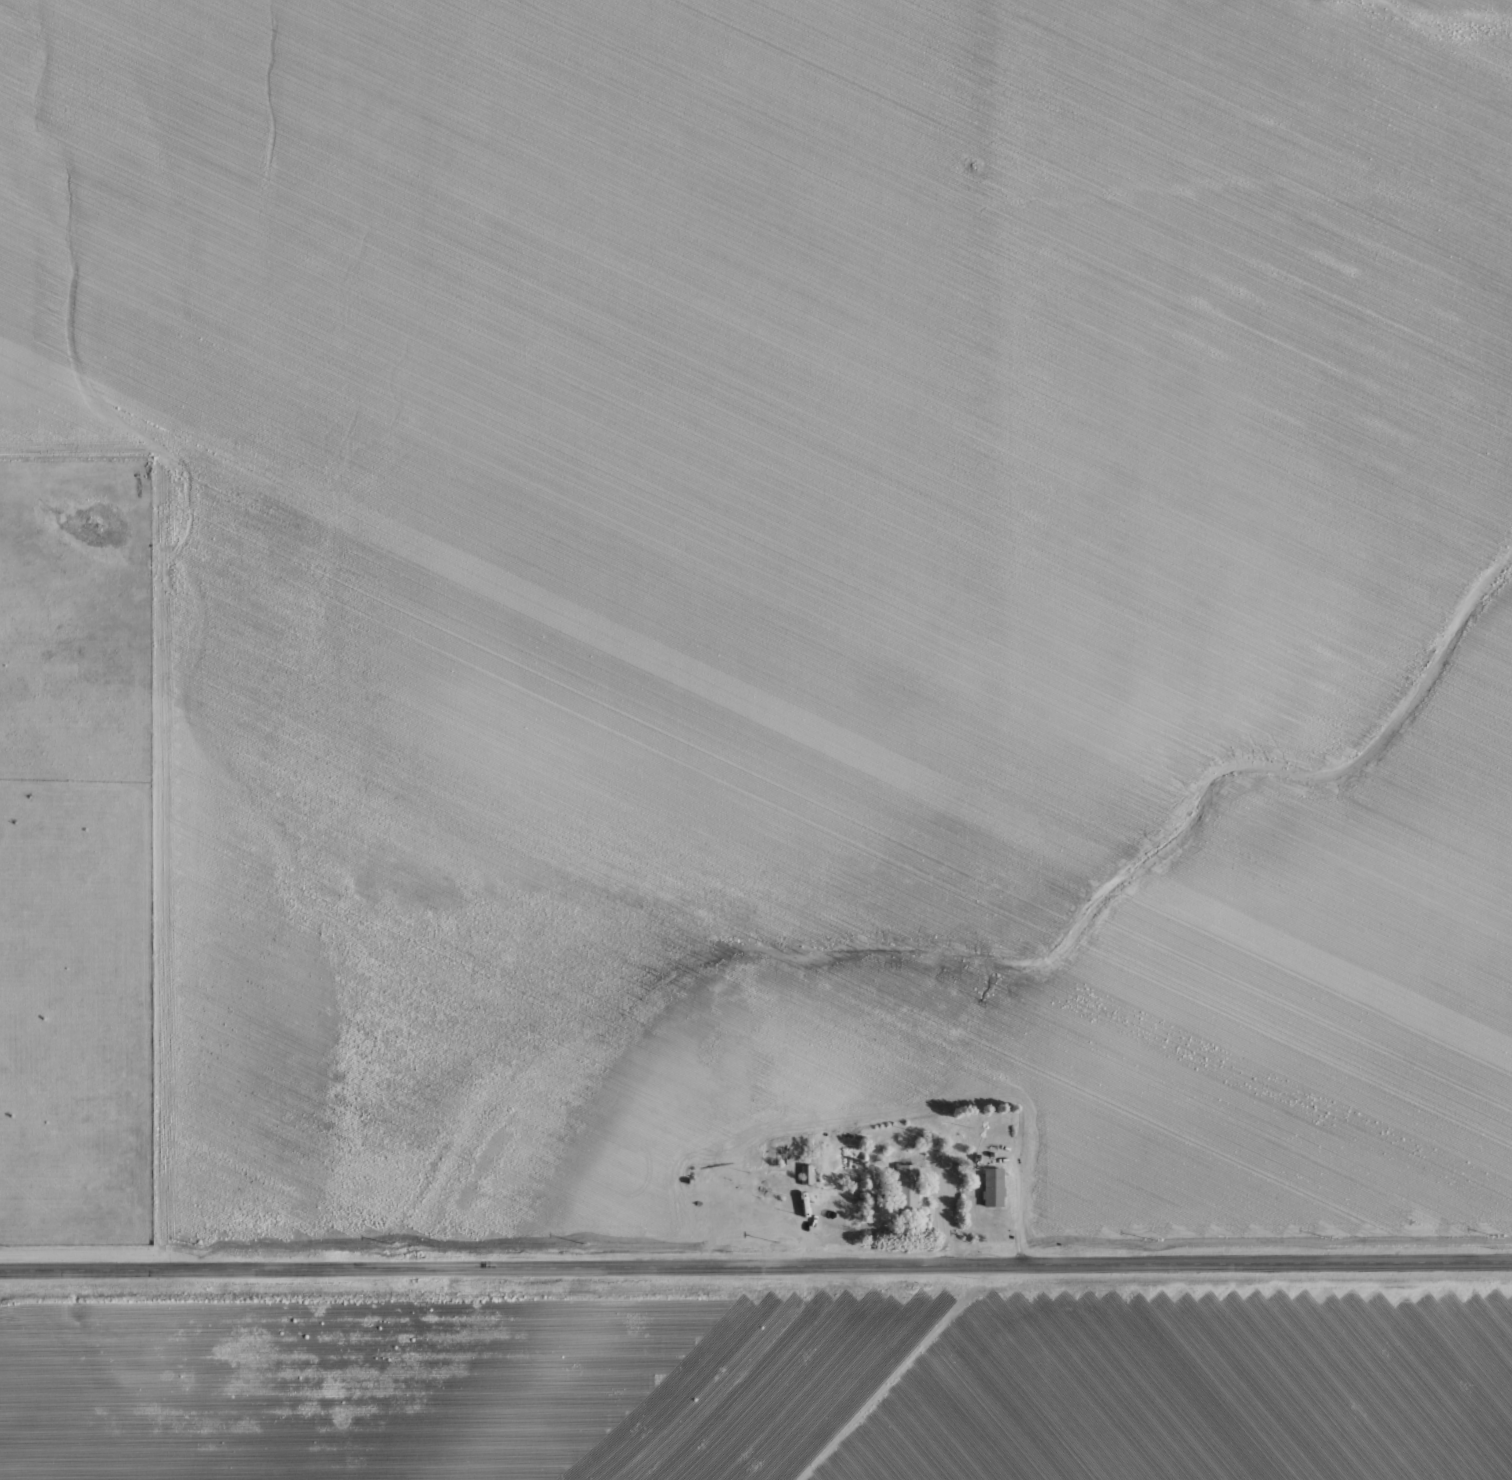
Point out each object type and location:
building: (993, 1186)
building: (907, 1187)
road: (756, 1265)

